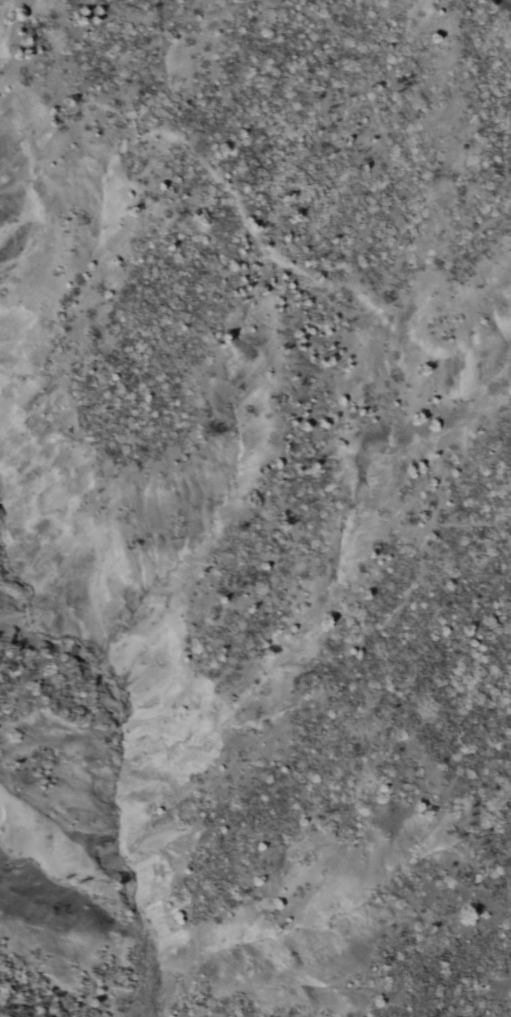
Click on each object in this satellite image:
road: (463, 26)

